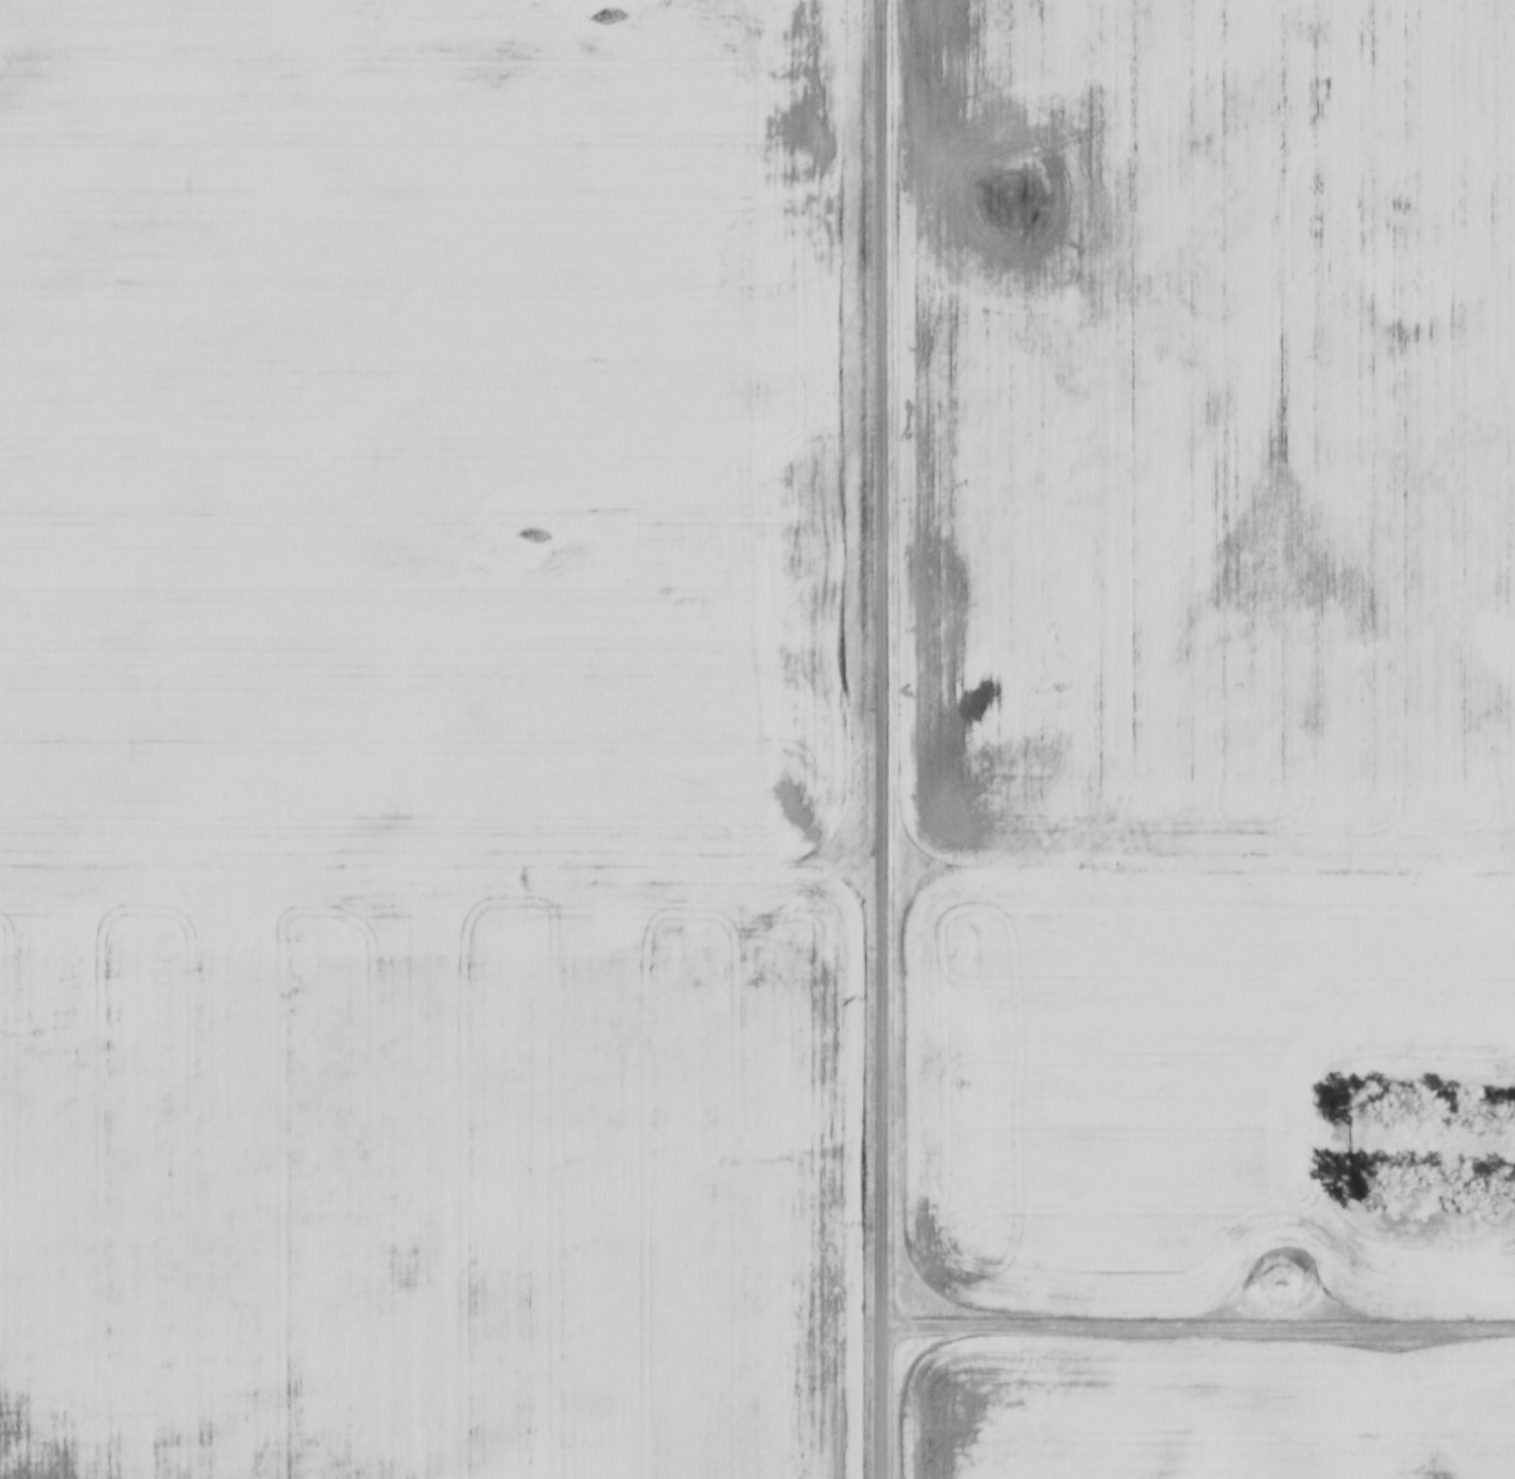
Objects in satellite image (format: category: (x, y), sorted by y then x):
road: (879, 739)
road: (1196, 1327)

